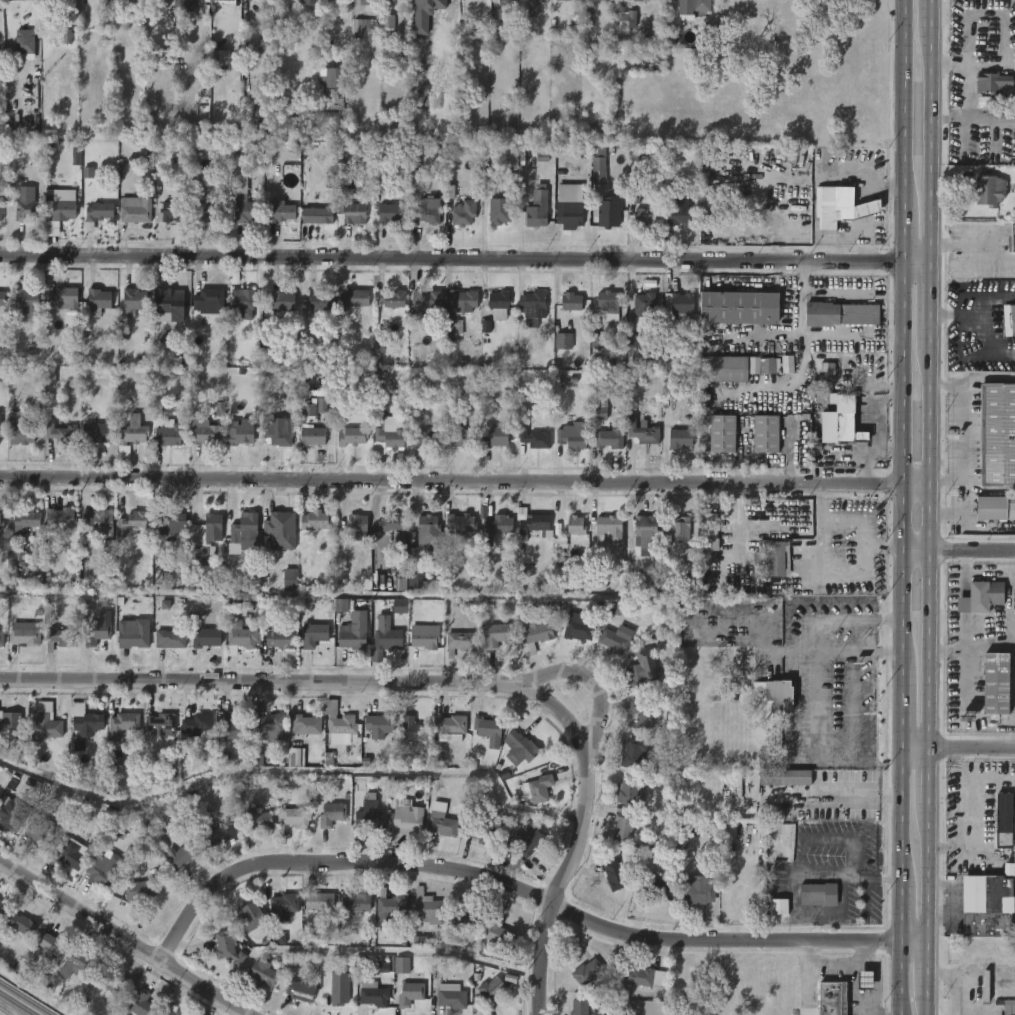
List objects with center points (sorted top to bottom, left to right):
building: (12, 0)
building: (224, 0)
building: (394, 0)
building: (571, 0)
building: (600, 0)
building: (644, 0)
building: (535, 1)
building: (310, 2)
building: (365, 2)
building: (182, 3)
building: (586, 3)
building: (692, 6)
road: (931, 15)
building: (386, 18)
building: (624, 20)
building: (363, 26)
building: (482, 31)
building: (67, 36)
building: (26, 40)
building: (220, 58)
building: (331, 78)
building: (993, 81)
building: (1004, 101)
road: (902, 103)
road: (972, 119)
building: (992, 143)
road: (929, 146)
building: (635, 153)
building: (598, 169)
building: (88, 173)
building: (330, 180)
building: (989, 191)
building: (28, 204)
building: (537, 207)
building: (839, 207)
building: (2, 209)
building: (65, 209)
building: (212, 209)
building: (498, 210)
building: (248, 211)
building: (284, 211)
building: (355, 211)
building: (609, 211)
building: (133, 212)
building: (170, 212)
building: (391, 212)
building: (100, 213)
building: (463, 213)
building: (321, 214)
building: (568, 214)
building: (643, 216)
building: (678, 216)
building: (427, 217)
road: (899, 235)
building: (1012, 241)
road: (980, 246)
road: (448, 258)
road: (913, 263)
building: (239, 295)
building: (61, 297)
building: (389, 298)
building: (2, 299)
building: (27, 299)
building: (95, 299)
building: (280, 299)
building: (321, 299)
building: (352, 299)
building: (130, 301)
building: (208, 301)
building: (462, 301)
building: (570, 301)
road: (985, 301)
building: (607, 304)
building: (643, 304)
building: (168, 305)
building: (499, 305)
building: (679, 305)
building: (426, 306)
road: (929, 306)
building: (532, 307)
building: (739, 308)
building: (837, 313)
road: (945, 316)
building: (1009, 320)
building: (451, 330)
building: (633, 340)
building: (563, 341)
building: (596, 341)
road: (970, 354)
building: (770, 364)
building: (721, 368)
building: (827, 369)
building: (322, 405)
building: (597, 406)
building: (311, 426)
building: (1, 427)
building: (848, 430)
building: (135, 431)
building: (243, 432)
building: (642, 432)
building: (93, 433)
building: (167, 433)
building: (278, 433)
road: (962, 433)
building: (23, 434)
building: (59, 434)
building: (722, 434)
building: (996, 434)
building: (203, 435)
building: (390, 435)
building: (464, 435)
building: (571, 435)
building: (764, 435)
building: (350, 436)
building: (428, 436)
building: (499, 437)
building: (537, 438)
building: (612, 438)
building: (679, 438)
road: (898, 462)
road: (464, 483)
building: (993, 508)
building: (59, 518)
building: (0, 521)
building: (171, 521)
building: (313, 521)
building: (132, 522)
building: (26, 523)
building: (95, 523)
building: (389, 523)
building: (460, 523)
building: (356, 524)
building: (497, 524)
building: (1, 525)
building: (532, 526)
building: (575, 526)
building: (211, 528)
building: (609, 528)
building: (678, 529)
building: (282, 530)
building: (646, 531)
building: (706, 531)
building: (244, 532)
building: (425, 538)
road: (928, 548)
road: (957, 553)
building: (770, 557)
road: (826, 572)
building: (288, 578)
building: (417, 580)
building: (730, 586)
road: (965, 586)
building: (979, 597)
road: (965, 604)
building: (341, 611)
road: (964, 627)
building: (311, 629)
building: (576, 629)
building: (98, 633)
building: (536, 633)
building: (495, 634)
building: (351, 635)
building: (27, 636)
building: (239, 636)
building: (63, 637)
building: (132, 637)
building: (208, 637)
building: (616, 637)
building: (3, 638)
building: (279, 638)
building: (172, 639)
building: (384, 639)
building: (423, 639)
building: (460, 641)
road: (1007, 642)
road: (811, 646)
road: (855, 649)
road: (946, 652)
building: (642, 669)
road: (588, 680)
road: (260, 682)
building: (996, 682)
building: (778, 695)
road: (900, 705)
building: (646, 714)
building: (194, 723)
building: (305, 723)
building: (13, 724)
building: (90, 724)
building: (163, 724)
building: (339, 724)
building: (450, 724)
building: (125, 725)
building: (268, 725)
building: (381, 726)
building: (48, 727)
building: (233, 727)
building: (413, 729)
building: (488, 730)
building: (525, 749)
road: (914, 749)
road: (971, 749)
building: (633, 754)
building: (781, 777)
road: (928, 778)
building: (539, 787)
building: (628, 790)
road: (830, 798)
building: (13, 814)
building: (367, 814)
building: (333, 815)
road: (898, 816)
building: (295, 817)
building: (1004, 818)
building: (404, 819)
building: (256, 820)
building: (441, 823)
building: (626, 823)
building: (40, 830)
building: (480, 832)
building: (174, 835)
road: (578, 837)
building: (218, 839)
building: (526, 840)
road: (825, 840)
building: (72, 852)
building: (183, 854)
building: (1013, 861)
road: (869, 873)
road: (927, 874)
building: (102, 876)
building: (613, 877)
road: (801, 877)
road: (507, 885)
building: (654, 887)
building: (139, 889)
building: (696, 889)
building: (823, 894)
building: (316, 901)
building: (355, 902)
building: (283, 903)
building: (3, 907)
building: (778, 907)
building: (393, 909)
building: (428, 910)
building: (991, 910)
road: (896, 913)
building: (468, 918)
building: (246, 920)
building: (19, 924)
road: (817, 928)
building: (496, 931)
road: (122, 939)
road: (911, 942)
building: (43, 947)
building: (226, 948)
building: (75, 966)
building: (402, 966)
road: (927, 969)
building: (587, 973)
building: (266, 974)
building: (643, 976)
road: (896, 978)
building: (112, 981)
building: (299, 990)
building: (490, 992)
building: (372, 993)
building: (407, 994)
building: (336, 995)
building: (450, 996)
railway: (27, 997)
building: (832, 998)
railway: (17, 1003)
building: (140, 1003)
road: (926, 1005)
building: (1007, 1006)
building: (578, 1007)
railway: (6, 1011)
railway: (6, 1012)
building: (169, 1012)

